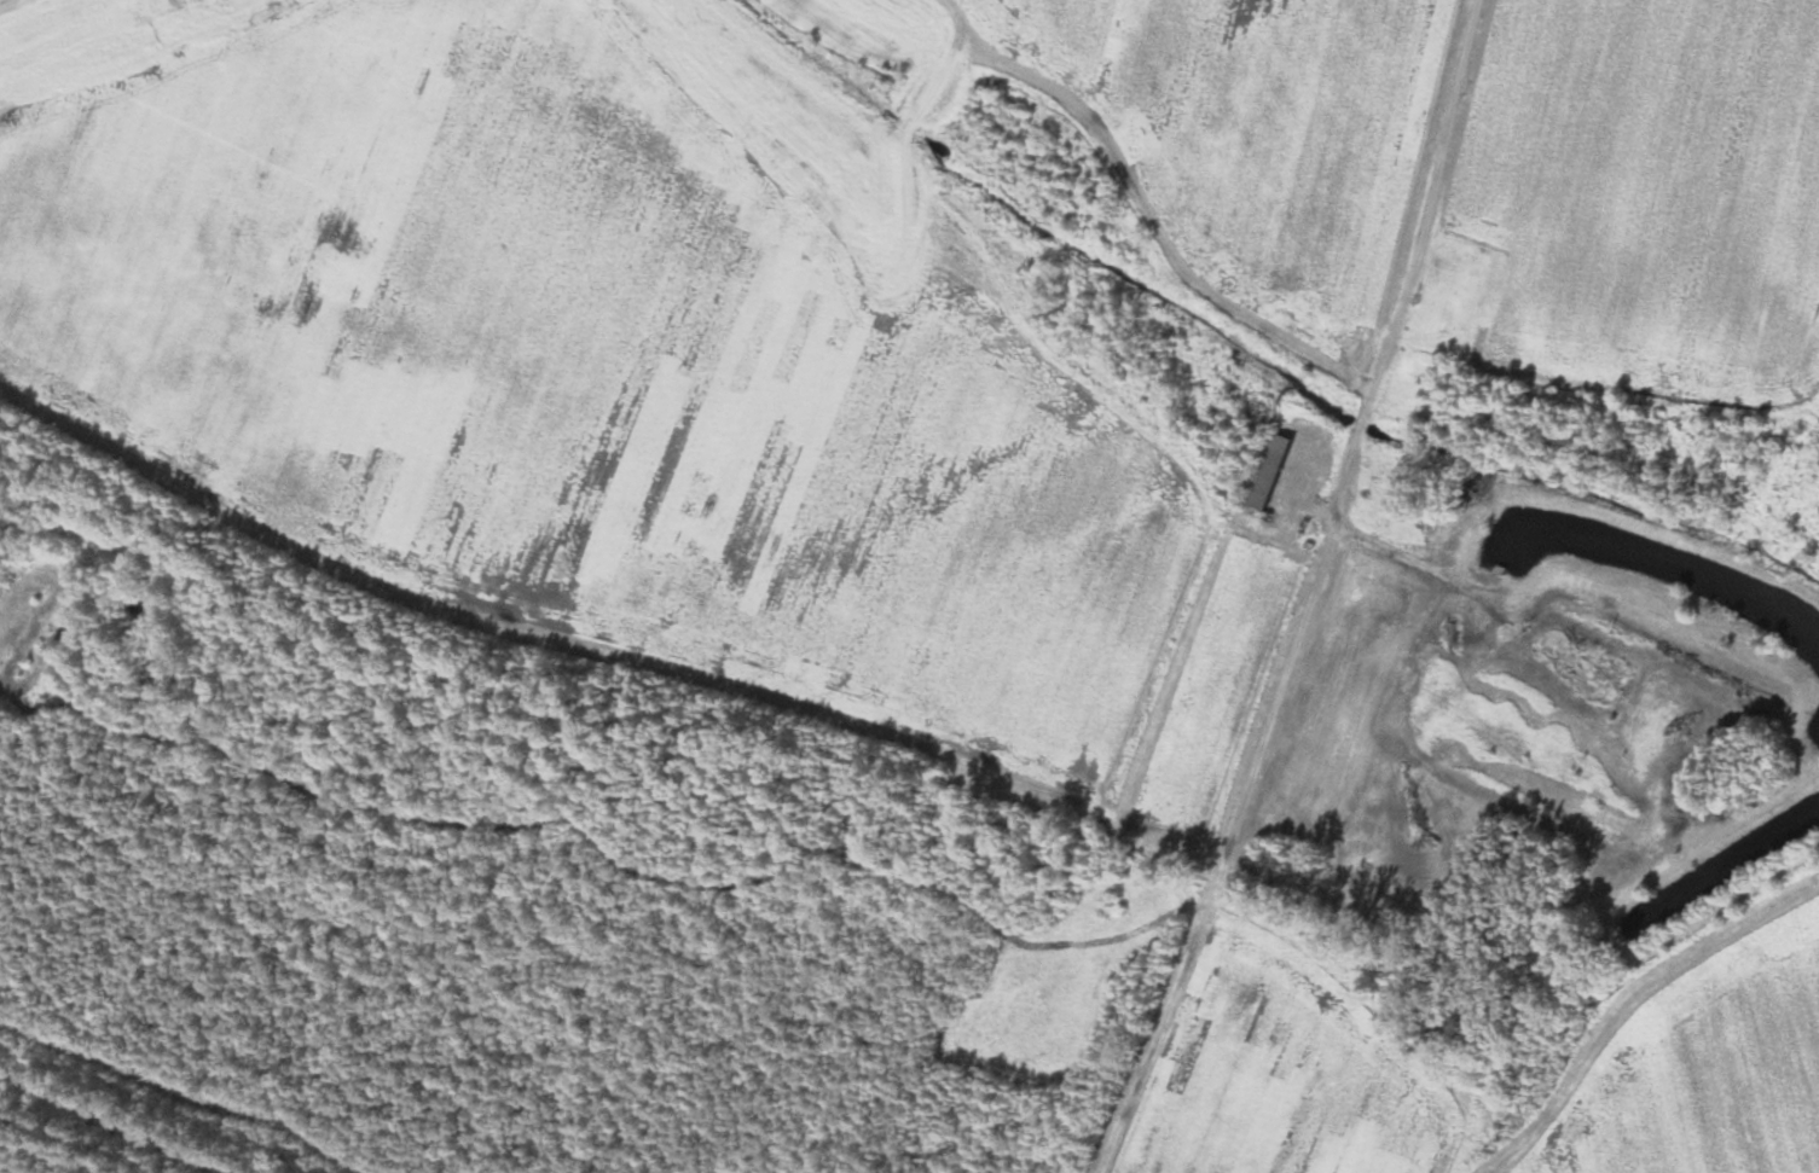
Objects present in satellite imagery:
building: (1263, 470)
building: (1496, 570)
road: (128, 1114)

